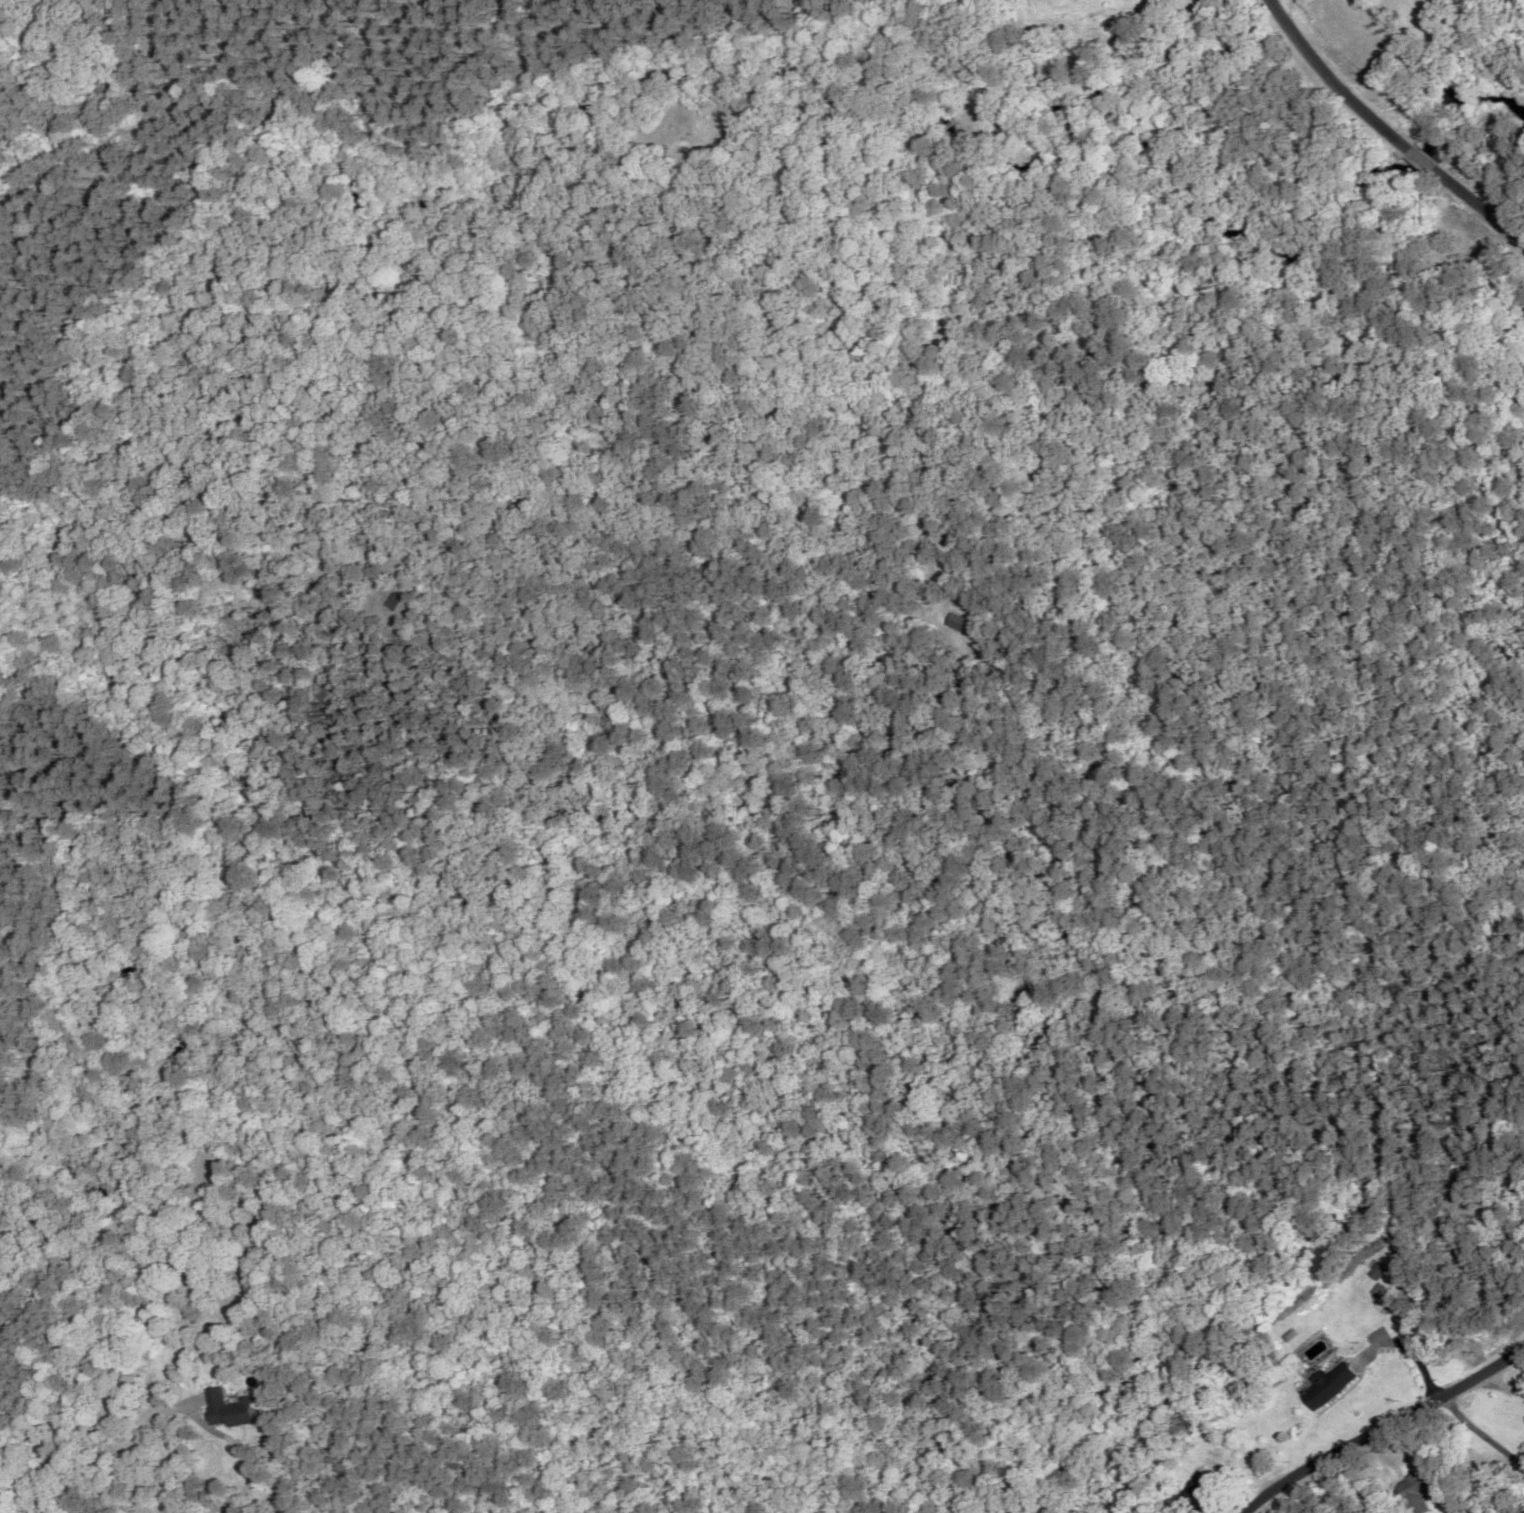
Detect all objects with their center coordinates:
road: (1381, 132)
building: (401, 605)
building: (1327, 1387)
road: (200, 1405)
building: (226, 1412)
road: (1386, 1428)
road: (1478, 1436)
building: (1413, 1492)

